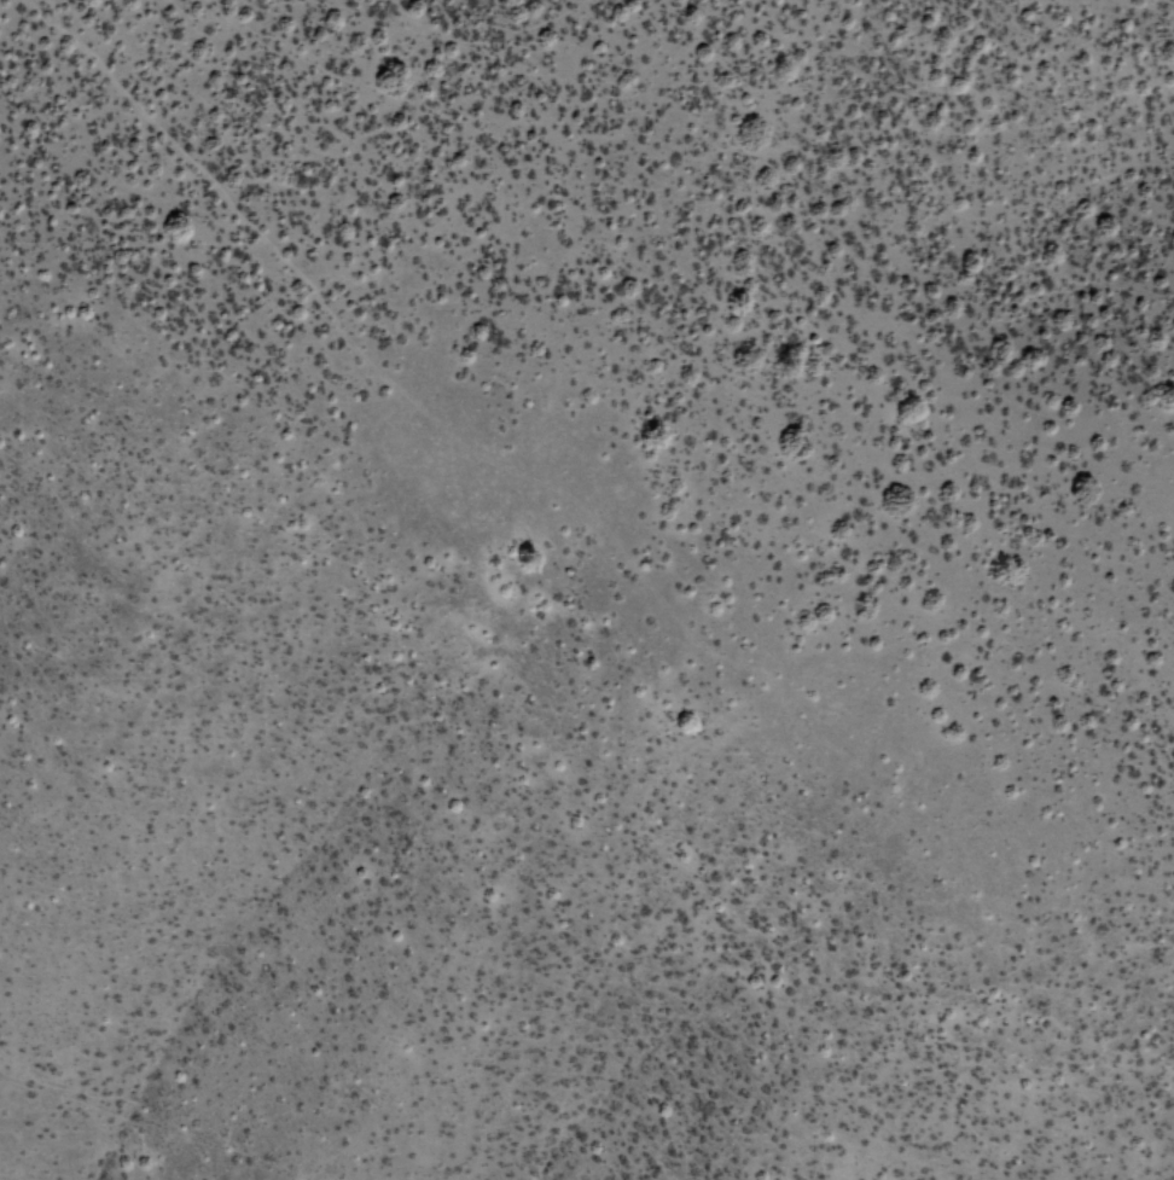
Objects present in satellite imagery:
road: (243, 221)

